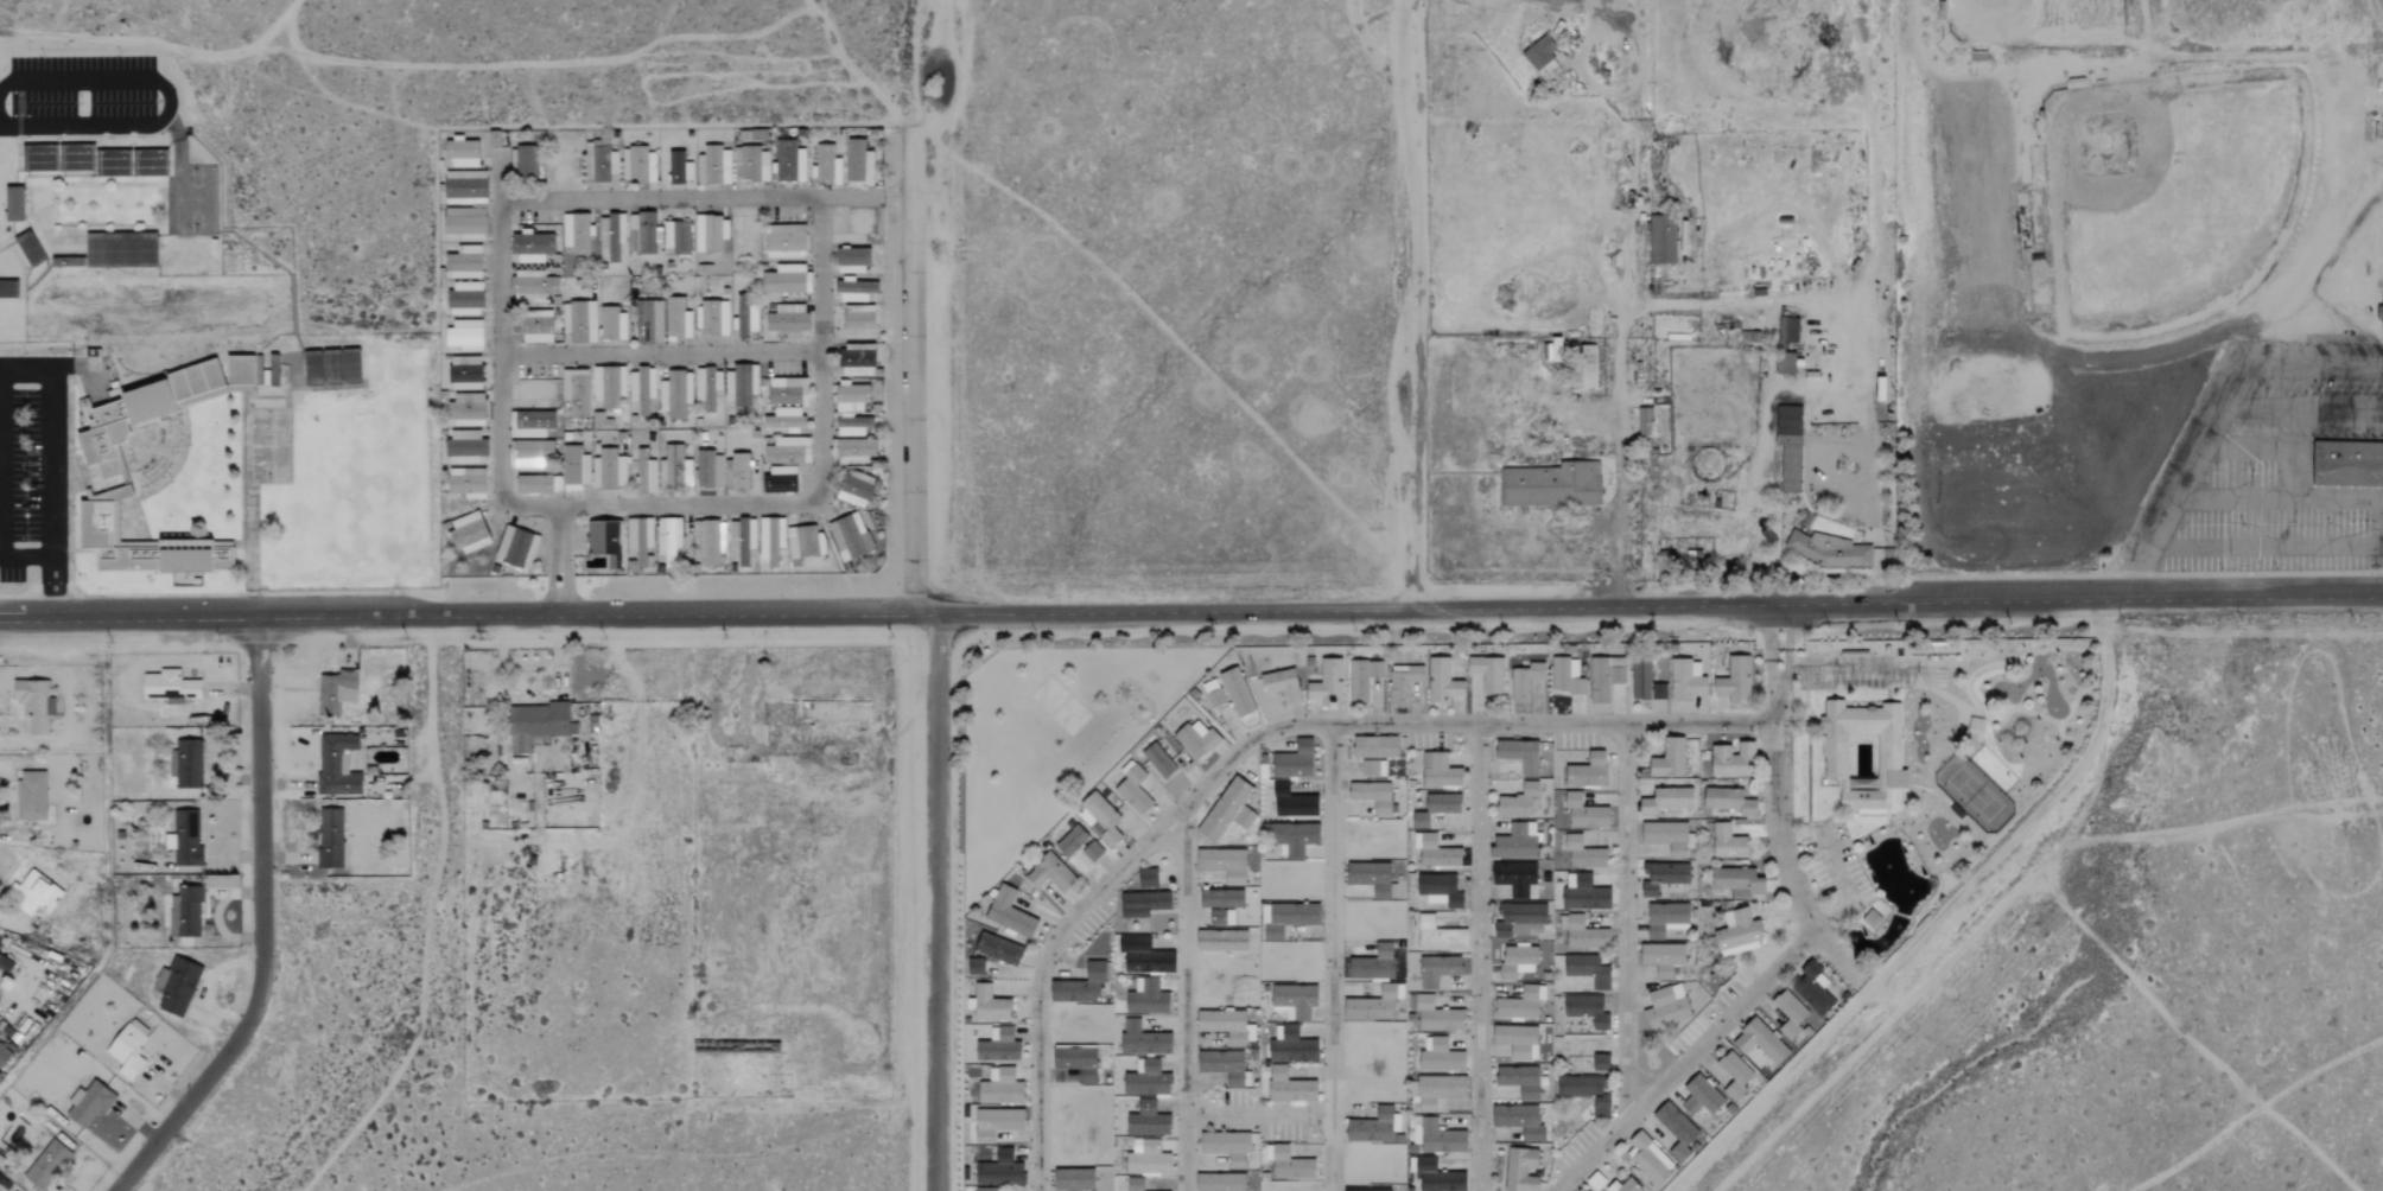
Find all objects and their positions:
road: (1603, 0)
road: (1609, 17)
building: (1540, 56)
road: (932, 66)
road: (1582, 69)
parking lot: (82, 85)
road: (167, 98)
building: (462, 153)
building: (525, 161)
building: (599, 161)
building: (789, 161)
building: (750, 165)
building: (859, 165)
building: (637, 166)
building: (713, 166)
building: (826, 167)
building: (679, 168)
road: (498, 178)
building: (465, 187)
park: (2169, 190)
road: (866, 196)
park: (196, 197)
road: (813, 197)
building: (27, 203)
building: (465, 223)
building: (577, 234)
building: (643, 234)
building: (710, 235)
building: (615, 236)
building: (676, 237)
building: (1663, 240)
building: (784, 242)
road: (2317, 244)
building: (530, 247)
building: (852, 261)
building: (464, 263)
building: (787, 280)
building: (532, 287)
building: (8, 288)
building: (856, 291)
building: (464, 300)
road: (1410, 304)
building: (2379, 312)
building: (712, 319)
building: (676, 320)
building: (752, 320)
building: (579, 321)
building: (648, 321)
building: (787, 321)
building: (858, 323)
building: (612, 325)
building: (536, 327)
building: (1787, 330)
road: (1620, 331)
building: (464, 336)
road: (661, 351)
building: (857, 361)
building: (1785, 365)
building: (1587, 369)
road: (913, 371)
building: (464, 374)
building: (743, 384)
building: (609, 386)
road: (2063, 386)
building: (642, 388)
building: (707, 389)
building: (576, 391)
building: (787, 391)
building: (675, 394)
building: (851, 397)
building: (466, 410)
building: (784, 419)
building: (602, 421)
building: (1644, 422)
building: (530, 423)
building: (852, 425)
park: (269, 444)
building: (1788, 446)
building: (465, 447)
building: (788, 451)
building: (853, 452)
building: (180, 453)
building: (530, 453)
building: (2347, 461)
road: (52, 465)
building: (574, 469)
building: (674, 470)
building: (609, 471)
building: (708, 471)
road: (1872, 471)
building: (644, 473)
building: (737, 473)
parking lot: (18, 476)
building: (780, 480)
building: (466, 483)
building: (538, 485)
building: (1552, 486)
road: (0, 489)
building: (856, 489)
building: (468, 533)
building: (850, 537)
building: (668, 540)
building: (742, 540)
building: (771, 540)
building: (640, 541)
building: (605, 542)
building: (708, 542)
building: (805, 542)
road: (2263, 544)
building: (515, 548)
building: (1826, 550)
road: (1820, 574)
road: (1191, 610)
road: (1778, 662)
building: (1488, 673)
building: (1567, 676)
building: (1362, 677)
building: (1604, 677)
building: (1734, 680)
building: (1525, 681)
building: (1686, 681)
building: (1403, 682)
building: (1442, 682)
building: (1645, 682)
building: (1327, 683)
building: (1282, 684)
building: (169, 686)
building: (335, 690)
building: (1213, 692)
building: (1237, 692)
building: (33, 703)
building: (535, 725)
road: (1333, 733)
building: (1196, 739)
road: (1250, 743)
building: (1374, 746)
building: (1863, 751)
building: (1519, 754)
building: (1157, 759)
building: (1670, 759)
building: (1295, 760)
building: (1733, 760)
building: (186, 763)
building: (336, 765)
building: (1373, 768)
building: (1588, 771)
building: (1441, 772)
building: (1132, 789)
building: (30, 795)
building: (1372, 796)
building: (1520, 801)
building: (1666, 801)
building: (1729, 801)
building: (1292, 802)
building: (1443, 803)
building: (1228, 810)
building: (1584, 813)
building: (1099, 819)
building: (1421, 820)
building: (1665, 836)
building: (184, 837)
building: (329, 837)
building: (1292, 837)
building: (1515, 842)
building: (1728, 842)
building: (1078, 845)
building: (1436, 852)
building: (1583, 854)
building: (1224, 864)
building: (1050, 873)
building: (1663, 877)
building: (1148, 878)
building: (1372, 878)
building: (1517, 879)
building: (1739, 881)
building: (1440, 890)
building: (34, 892)
building: (1584, 893)
building: (1222, 899)
road: (936, 900)
building: (1143, 904)
building: (184, 911)
building: (1009, 913)
road: (1938, 916)
building: (1218, 917)
building: (1666, 919)
building: (1870, 919)
building: (1520, 921)
road: (1625, 921)
road: (262, 925)
building: (1739, 935)
building: (1438, 936)
building: (1224, 941)
building: (998, 949)
building: (1144, 956)
road: (1479, 956)
building: (1663, 957)
building: (1517, 961)
building: (5, 963)
building: (1373, 964)
building: (974, 967)
road: (1041, 968)
building: (1437, 970)
building: (1589, 970)
building: (1080, 985)
road: (1765, 985)
building: (174, 986)
building: (1812, 988)
road: (1186, 996)
building: (1146, 998)
building: (1519, 1004)
building: (990, 1005)
building: (1371, 1006)
building: (1666, 1007)
building: (1587, 1010)
building: (1435, 1014)
building: (1790, 1014)
building: (1224, 1025)
building: (1143, 1039)
building: (1517, 1040)
building: (1760, 1042)
building: (998, 1046)
building: (1291, 1046)
building: (127, 1047)
building: (4, 1053)
building: (1440, 1056)
building: (1076, 1062)
building: (1601, 1063)
building: (1222, 1065)
building: (1734, 1075)
building: (1148, 1079)
building: (1520, 1081)
building: (1289, 1087)
building: (1000, 1088)
building: (1438, 1090)
building: (1586, 1093)
building: (1701, 1096)
building: (89, 1103)
road: (1260, 1114)
building: (1148, 1120)
building: (1519, 1121)
building: (996, 1123)
building: (1372, 1127)
building: (1676, 1129)
building: (1436, 1136)
building: (1227, 1147)
building: (1146, 1158)
building: (1650, 1159)
building: (45, 1160)
building: (1290, 1165)
building: (1521, 1170)
building: (1000, 1171)
building: (1437, 1177)
building: (1073, 1179)
building: (1220, 1182)
building: (1135, 1184)
building: (1626, 1186)
building: (985, 1189)
building: (1368, 1189)
building: (1583, 1190)

